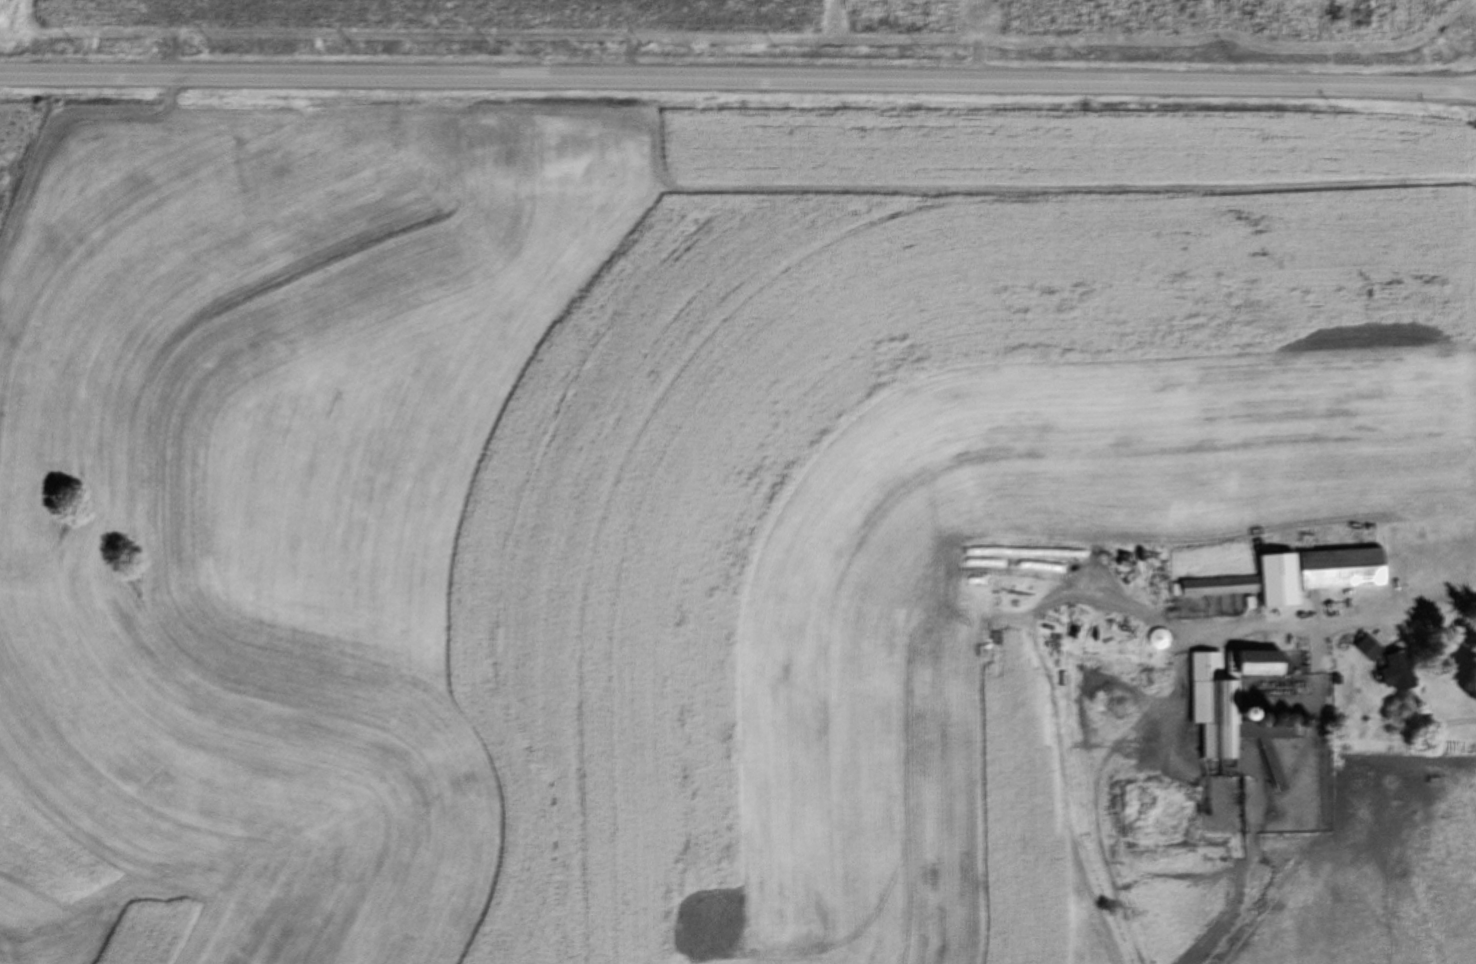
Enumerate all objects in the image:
road: (738, 84)
building: (1334, 569)
building: (1219, 588)
building: (1249, 664)
building: (1385, 673)
building: (1234, 725)

